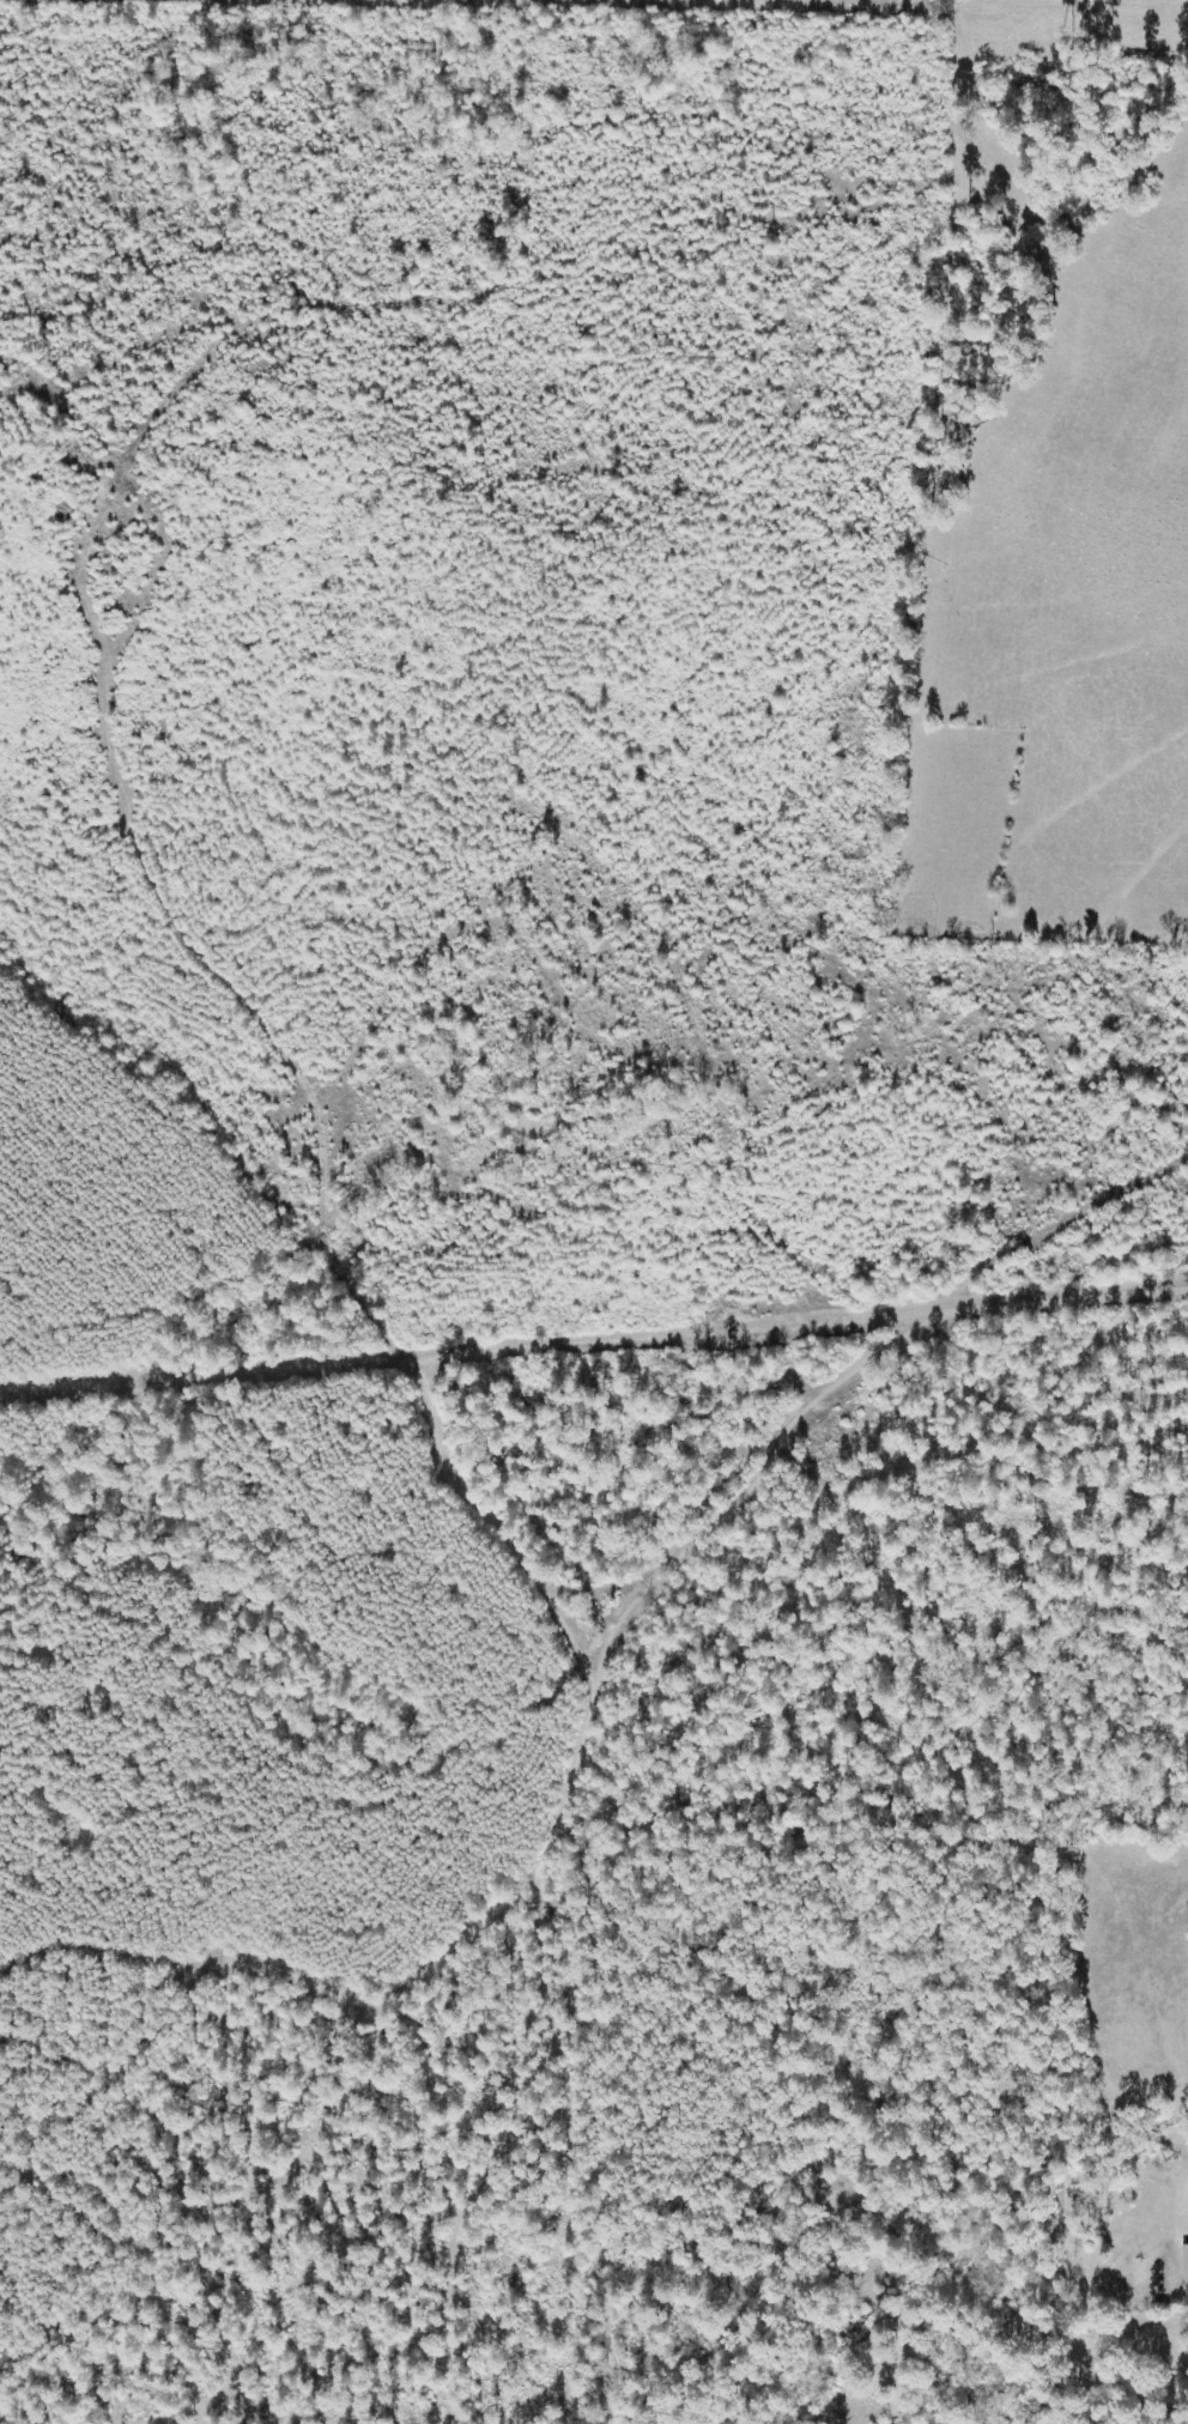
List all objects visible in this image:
building: (1186, 2271)

